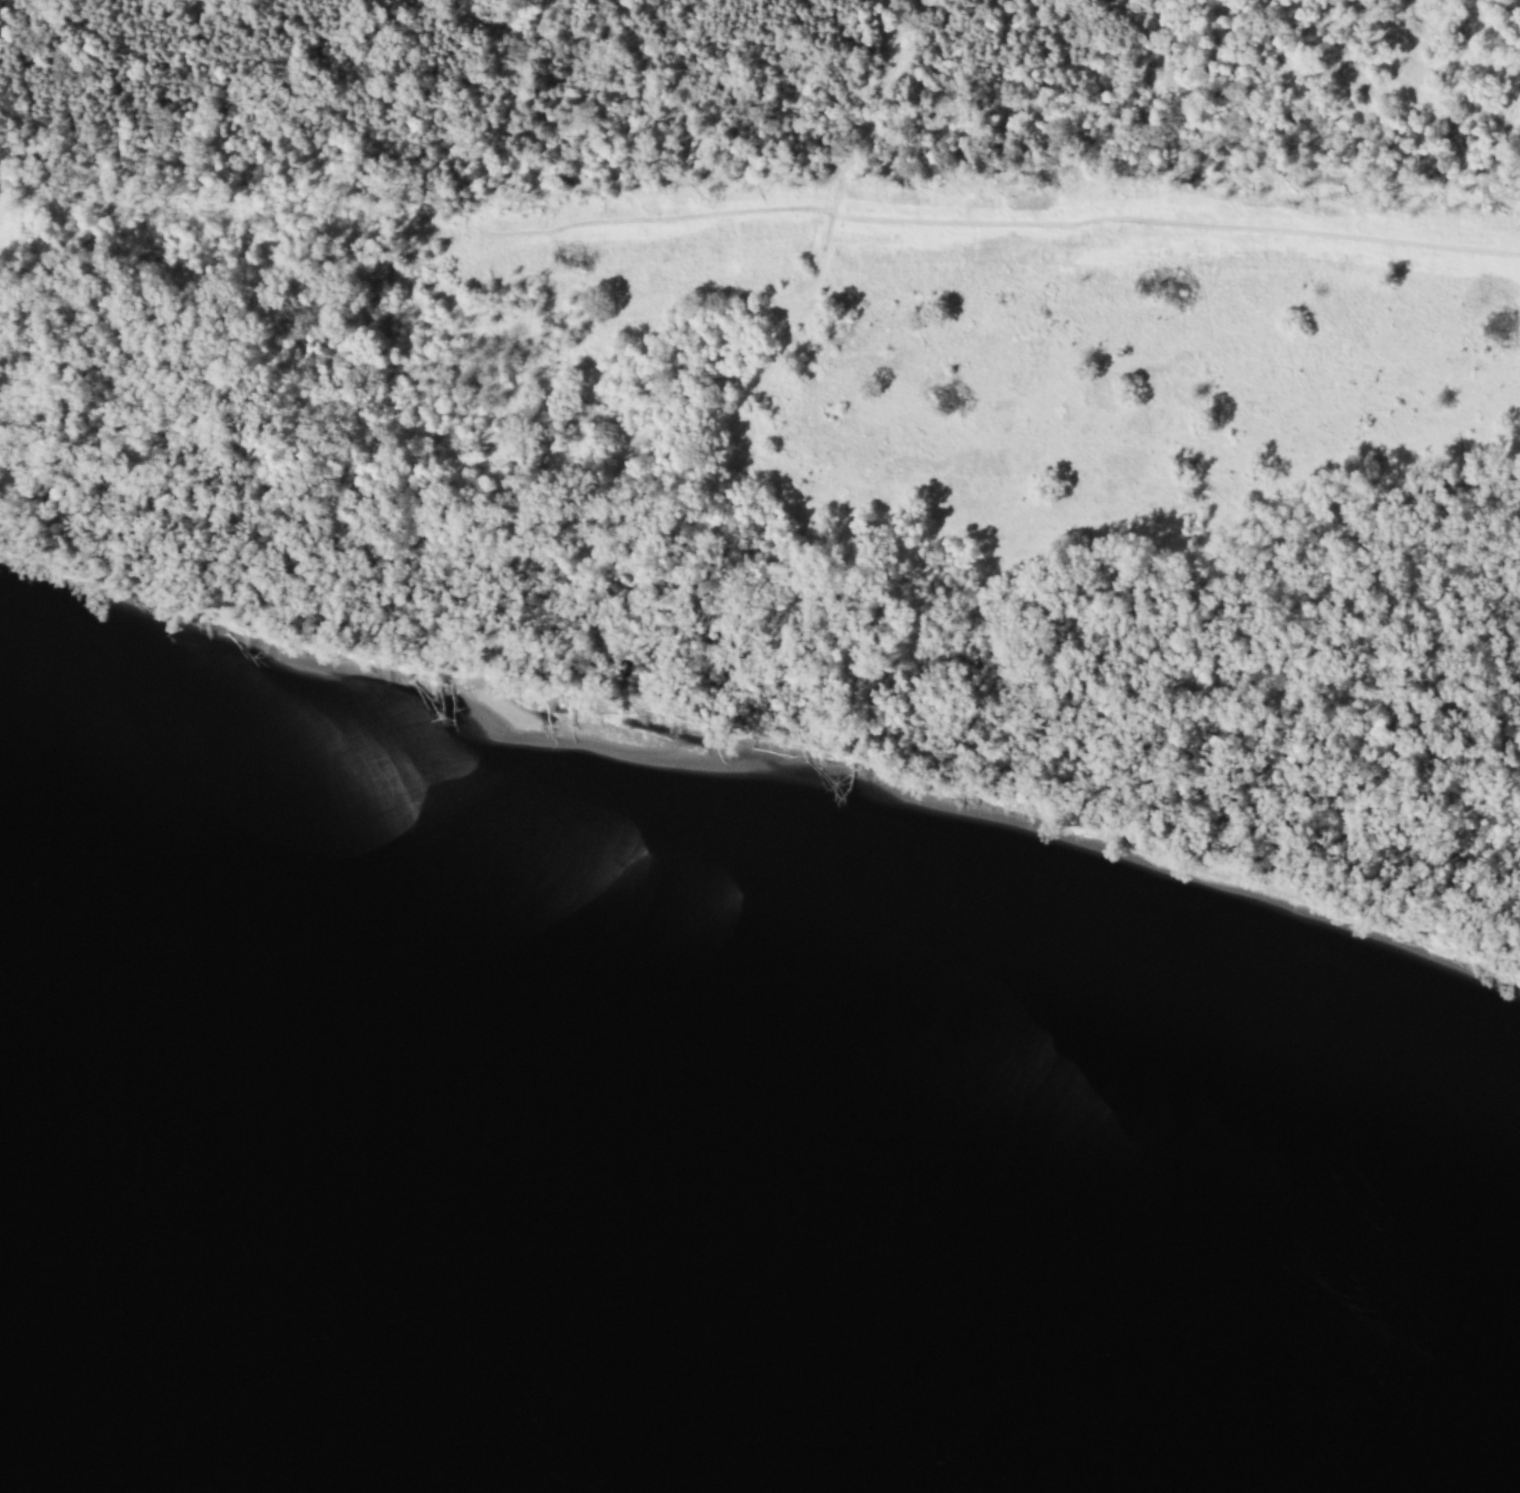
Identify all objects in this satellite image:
river: (310, 1386)

